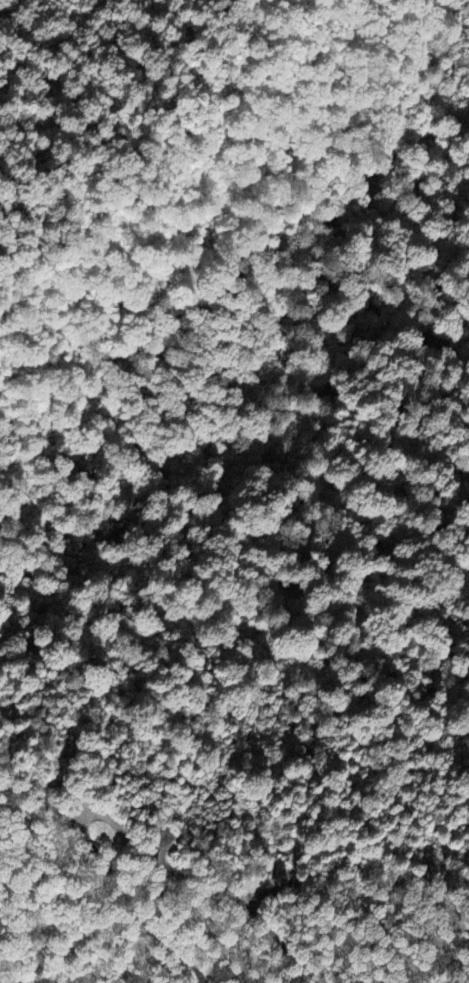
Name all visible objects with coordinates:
road: (121, 827)

